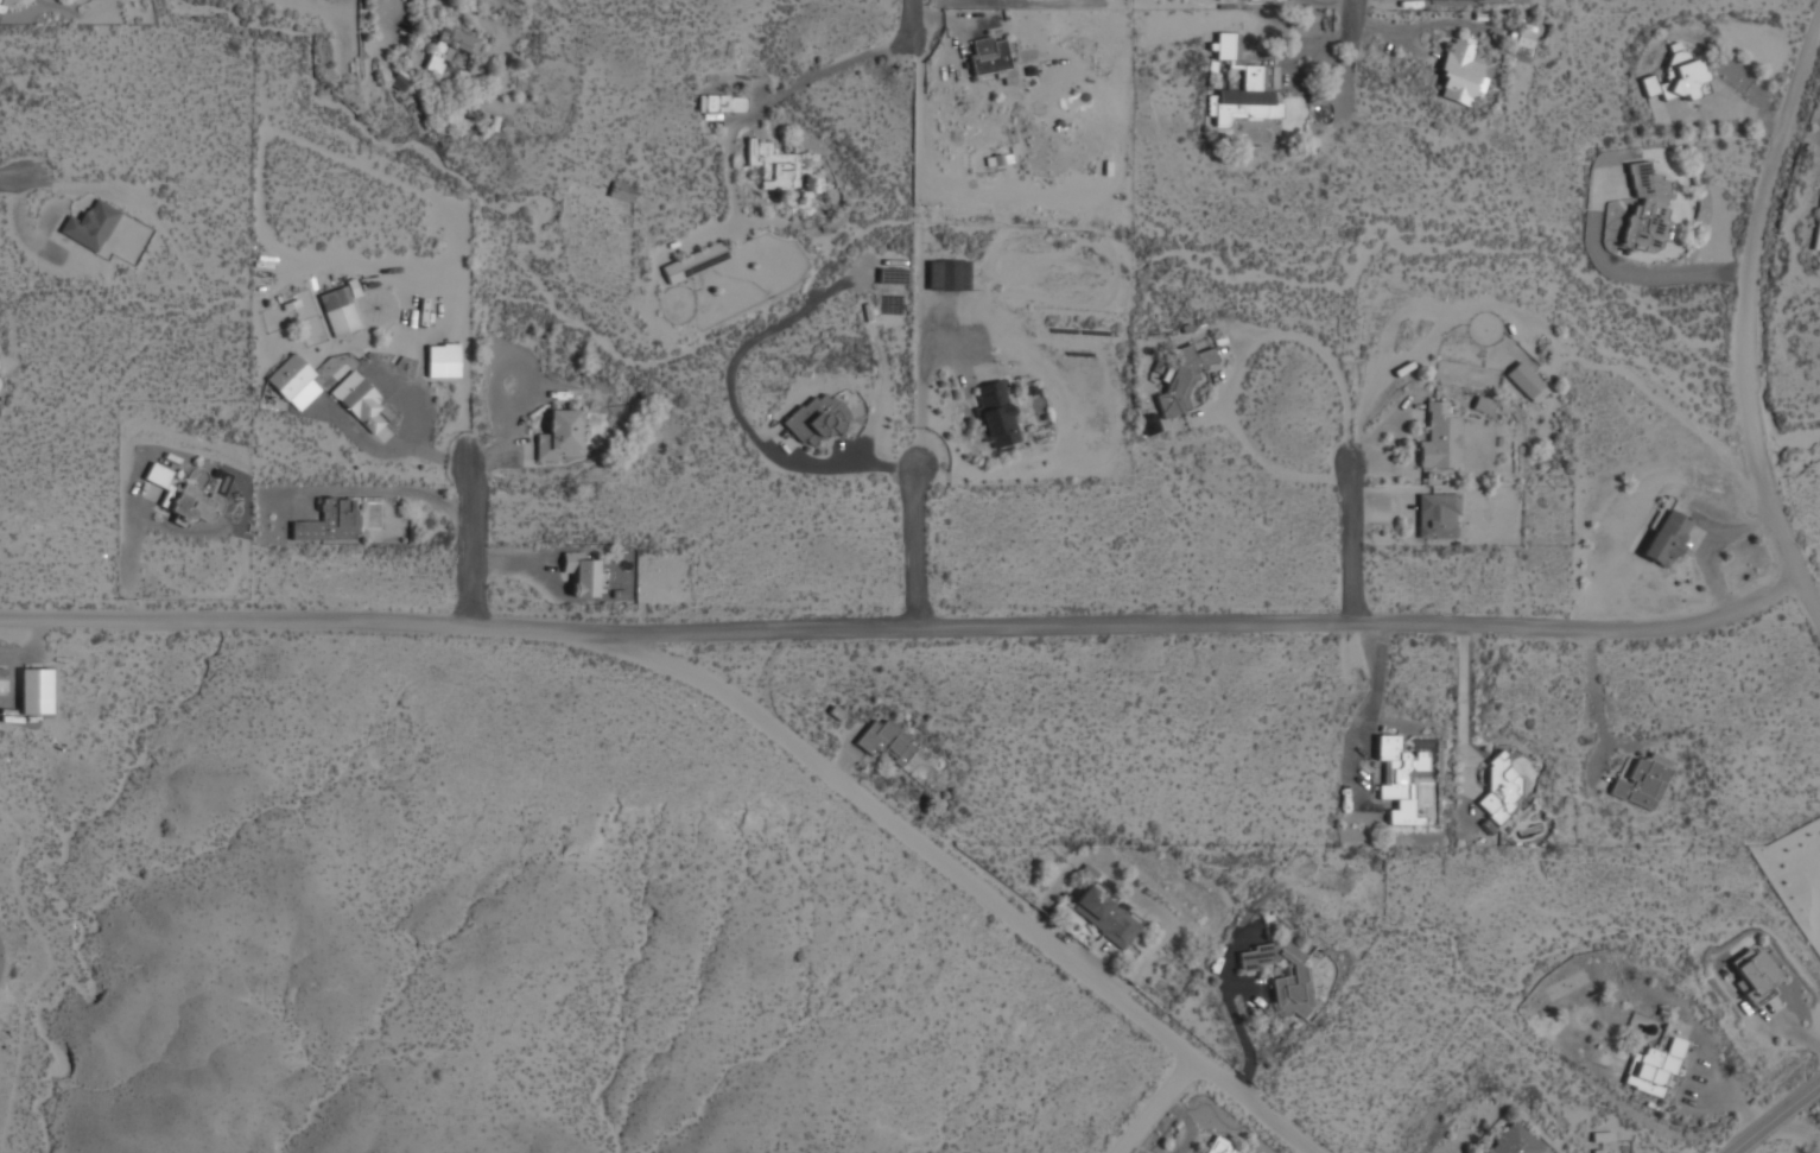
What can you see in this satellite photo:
building: (1256, 0)
building: (1439, 0)
building: (1, 7)
road: (389, 14)
road: (1358, 15)
road: (914, 21)
building: (449, 53)
building: (988, 56)
building: (1460, 74)
building: (1678, 80)
building: (400, 81)
building: (1244, 89)
road: (774, 97)
building: (724, 104)
building: (774, 166)
road: (14, 178)
building: (619, 190)
building: (1648, 211)
building: (90, 227)
building: (1818, 239)
building: (696, 262)
building: (892, 277)
building: (947, 277)
road: (1745, 298)
building: (341, 312)
building: (442, 361)
road: (921, 366)
building: (1182, 380)
building: (294, 382)
building: (1527, 382)
building: (359, 401)
building: (997, 416)
building: (817, 420)
building: (560, 437)
building: (1441, 438)
building: (184, 498)
building: (1439, 518)
building: (328, 522)
road: (1357, 536)
building: (1667, 539)
road: (476, 541)
road: (913, 545)
building: (582, 575)
road: (1809, 600)
road: (903, 622)
building: (2, 684)
building: (36, 692)
road: (1461, 722)
building: (884, 741)
building: (1400, 777)
building: (1644, 783)
building: (1501, 788)
road: (943, 859)
building: (1105, 917)
building: (1757, 974)
building: (1292, 996)
building: (1655, 1070)
road: (1152, 1101)
road: (1775, 1116)
building: (1517, 1141)
building: (1220, 1147)

